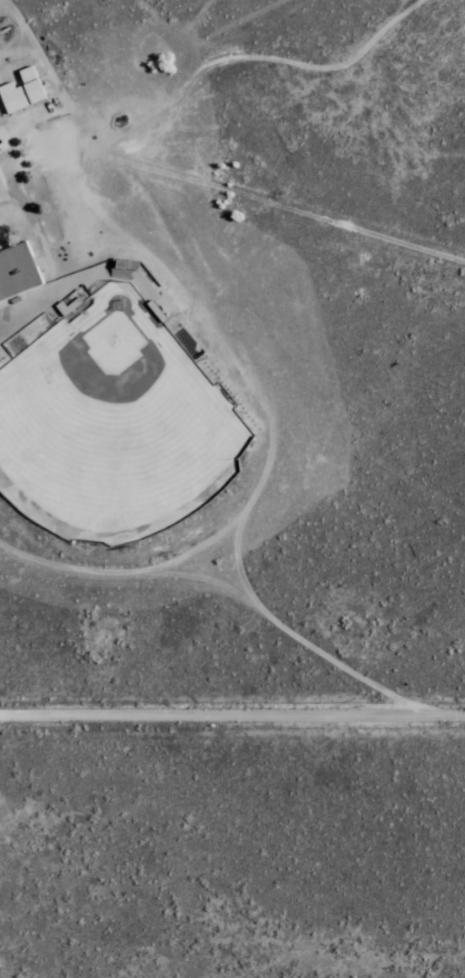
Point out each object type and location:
road: (19, 52)
road: (251, 56)
road: (53, 69)
building: (23, 96)
road: (65, 143)
road: (3, 157)
road: (7, 184)
parking lot: (4, 192)
road: (7, 204)
road: (297, 209)
road: (33, 219)
building: (18, 274)
road: (179, 286)
road: (30, 299)
road: (30, 314)
park: (112, 424)
road: (273, 454)
road: (232, 721)

